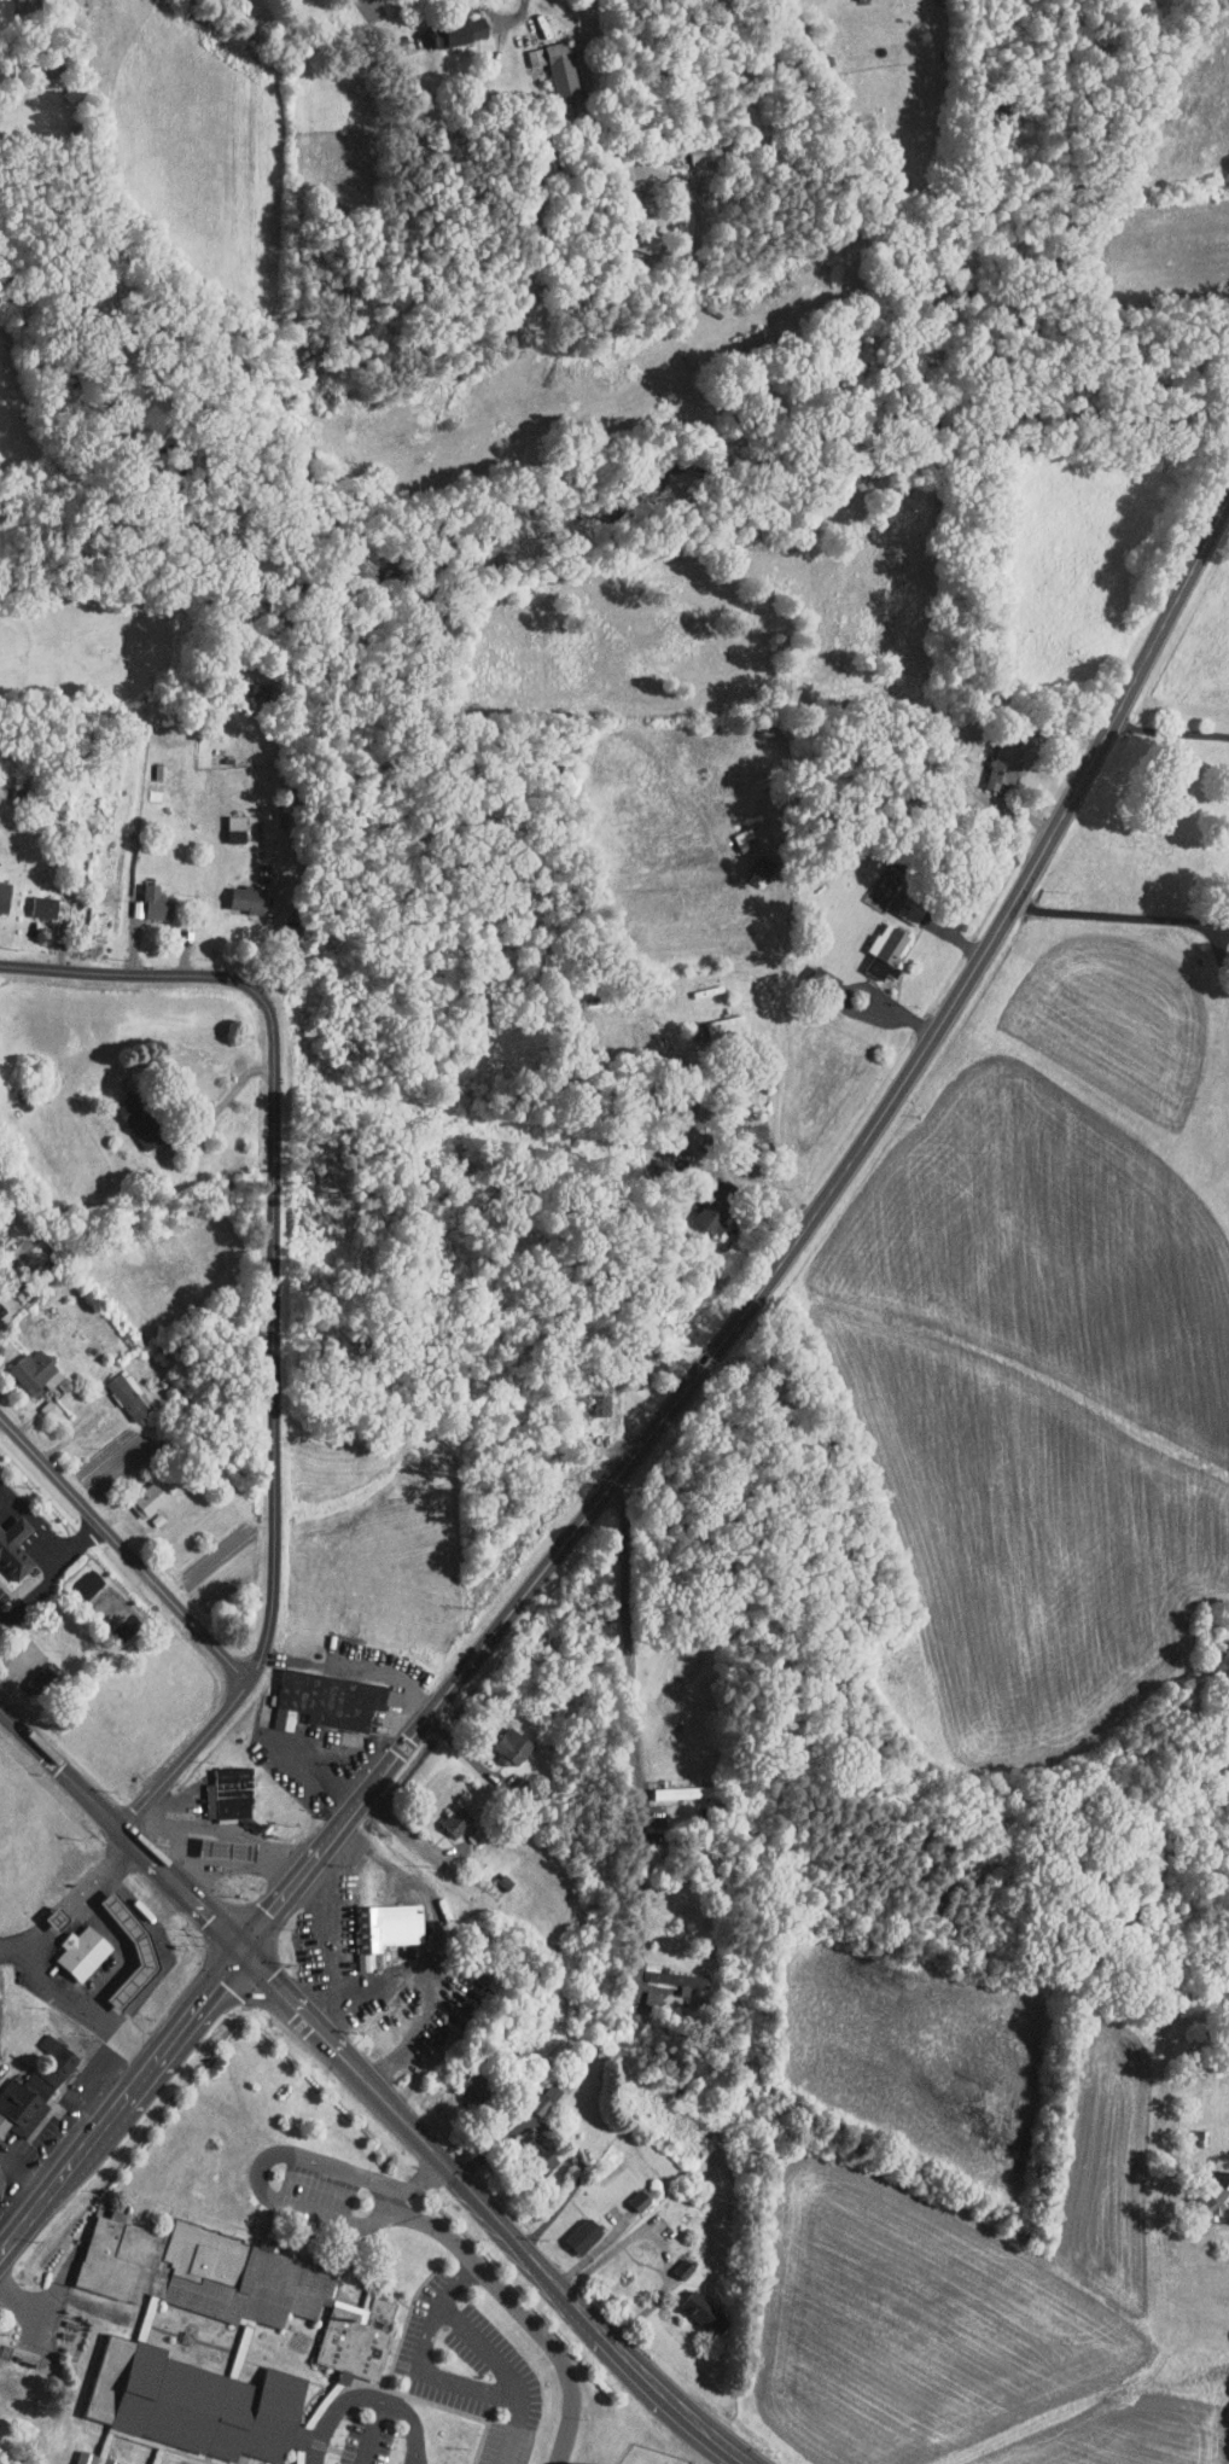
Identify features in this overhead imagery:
road: (508, 18)
building: (459, 22)
building: (525, 48)
building: (554, 62)
road: (1171, 732)
building: (995, 757)
building: (1228, 791)
building: (227, 820)
building: (1228, 876)
building: (0, 886)
building: (239, 892)
building: (144, 896)
building: (36, 899)
road: (1136, 918)
road: (269, 928)
building: (873, 949)
road: (142, 973)
building: (717, 1019)
road: (229, 1093)
building: (134, 1120)
building: (700, 1210)
building: (25, 1363)
building: (118, 1388)
road: (666, 1416)
road: (273, 1443)
building: (142, 1493)
building: (14, 1548)
road: (123, 1550)
road: (51, 1575)
parking lot: (4, 1595)
building: (36, 1674)
building: (331, 1699)
road: (639, 1728)
building: (502, 1737)
building: (232, 1794)
building: (447, 1813)
building: (226, 1851)
road: (70, 1897)
building: (62, 1918)
building: (389, 1926)
road: (325, 1944)
road: (435, 1944)
traffic signals: (245, 1949)
building: (142, 1951)
gas station: (142, 1951)
building: (82, 1953)
building: (665, 1971)
road: (380, 1980)
road: (42, 1981)
road: (100, 1984)
building: (641, 1991)
building: (28, 2079)
road: (374, 2085)
road: (262, 2178)
road: (421, 2183)
parking lot: (320, 2188)
building: (1210, 2191)
building: (629, 2192)
road: (395, 2200)
building: (575, 2226)
building: (672, 2260)
building: (238, 2285)
building: (691, 2303)
road: (51, 2313)
road: (524, 2313)
road: (431, 2325)
road: (43, 2335)
parking lot: (473, 2370)
road: (369, 2398)
building: (200, 2404)
road: (514, 2430)
parking lot: (368, 2441)
building: (92, 2459)
building: (693, 2460)

